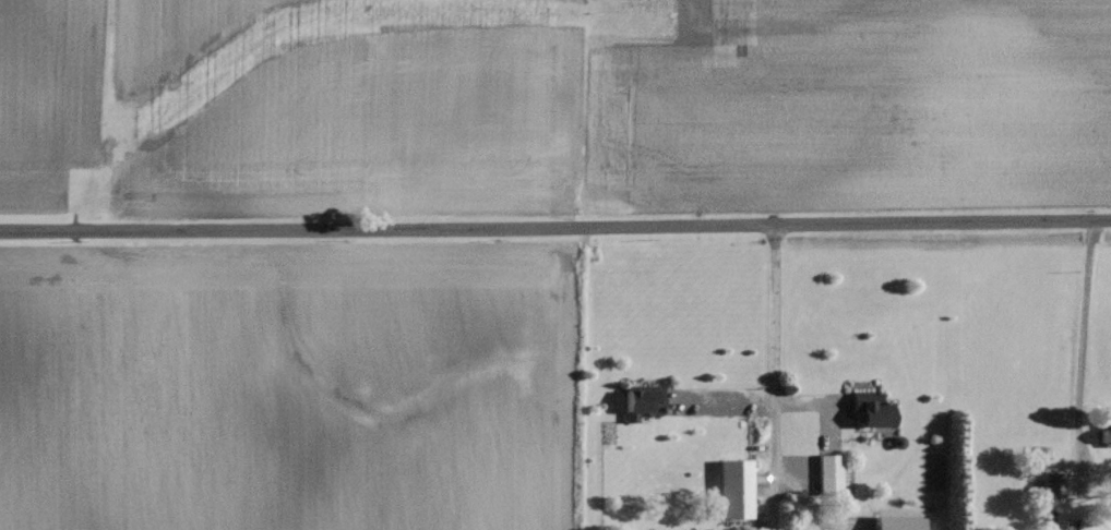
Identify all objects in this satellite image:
road: (555, 227)
road: (1082, 344)
road: (773, 376)
building: (632, 399)
road: (727, 399)
building: (867, 411)
building: (1102, 435)
building: (824, 473)
building: (1049, 485)
building: (729, 489)
building: (892, 523)

